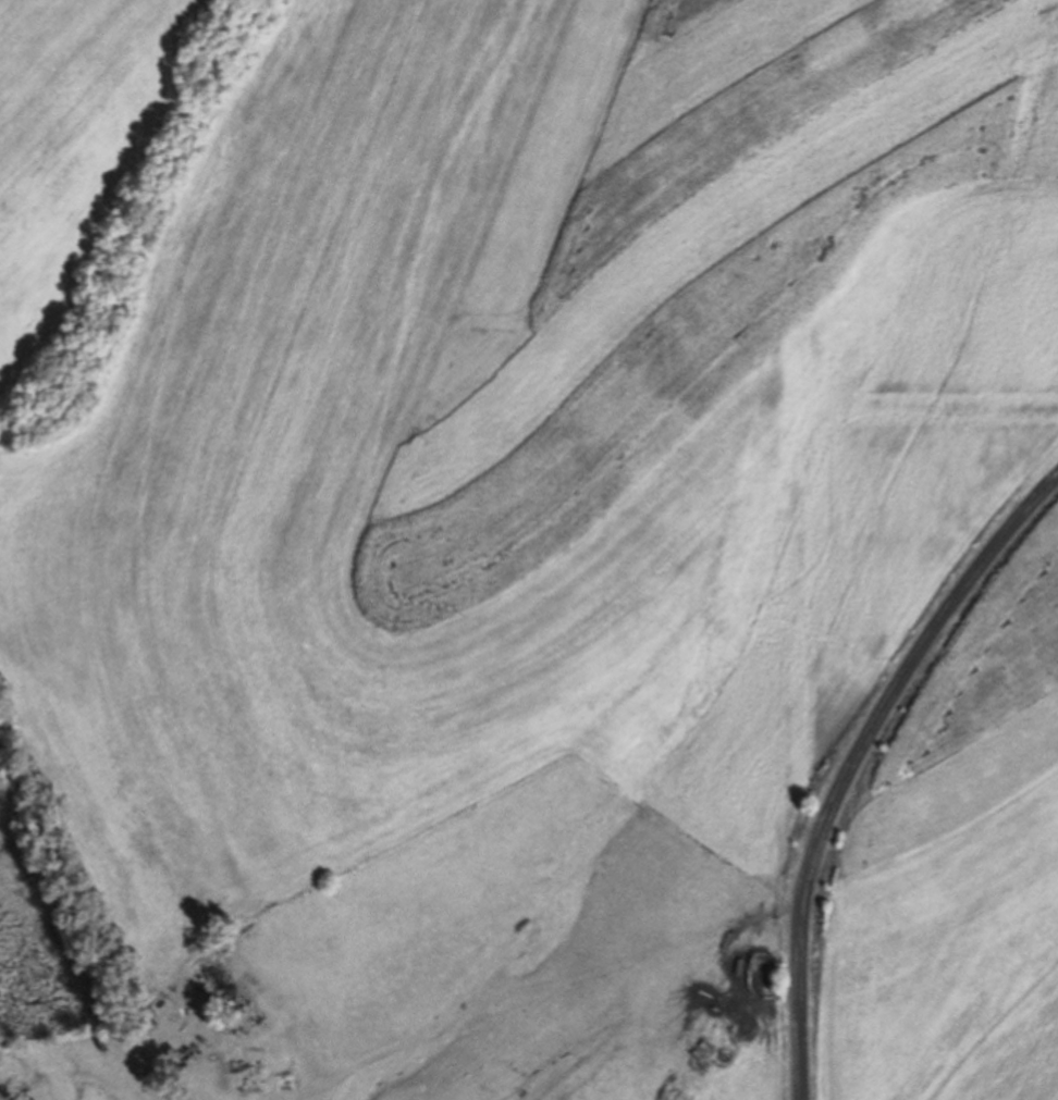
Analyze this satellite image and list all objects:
road: (851, 755)

